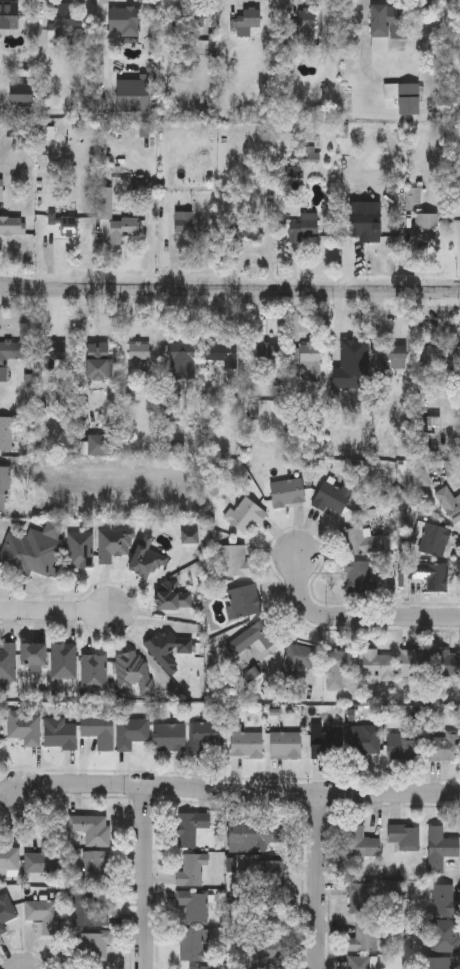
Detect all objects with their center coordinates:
building: (8, 16)
building: (187, 17)
building: (122, 20)
building: (250, 20)
building: (305, 20)
building: (62, 23)
building: (387, 25)
building: (20, 93)
building: (131, 95)
building: (104, 202)
building: (183, 223)
building: (366, 224)
building: (12, 225)
building: (64, 225)
building: (426, 225)
building: (250, 227)
building: (303, 228)
building: (121, 230)
road: (229, 291)
building: (11, 350)
building: (140, 351)
building: (267, 352)
building: (52, 353)
building: (351, 356)
building: (395, 356)
building: (97, 360)
building: (181, 360)
building: (224, 361)
building: (310, 361)
building: (171, 405)
building: (6, 432)
building: (100, 444)
building: (4, 488)
building: (287, 491)
building: (331, 498)
building: (449, 503)
building: (245, 514)
building: (432, 538)
building: (361, 540)
building: (113, 543)
building: (32, 549)
building: (80, 549)
building: (146, 558)
building: (234, 560)
building: (358, 573)
building: (433, 574)
building: (171, 596)
building: (244, 600)
road: (55, 610)
road: (355, 615)
building: (254, 637)
building: (167, 649)
building: (31, 654)
building: (300, 657)
building: (63, 661)
building: (7, 662)
building: (415, 662)
building: (377, 663)
building: (448, 663)
building: (338, 667)
building: (133, 671)
building: (94, 673)
building: (24, 730)
building: (98, 732)
building: (58, 734)
building: (131, 734)
building: (204, 737)
building: (169, 738)
building: (0, 739)
building: (364, 742)
building: (326, 743)
building: (245, 744)
building: (285, 747)
building: (445, 748)
building: (403, 749)
road: (242, 792)
building: (190, 826)
building: (91, 830)
building: (256, 834)
building: (405, 834)
building: (361, 843)
building: (440, 847)
building: (42, 859)
building: (9, 862)
building: (95, 868)
building: (193, 869)
building: (266, 875)
road: (145, 878)
road: (317, 880)
building: (363, 897)
building: (445, 899)
building: (193, 903)
building: (93, 909)
building: (6, 912)
building: (270, 914)
building: (42, 916)
building: (365, 934)
building: (445, 934)
building: (191, 943)
building: (90, 946)
building: (260, 953)
building: (359, 961)
building: (435, 962)
building: (202, 966)

